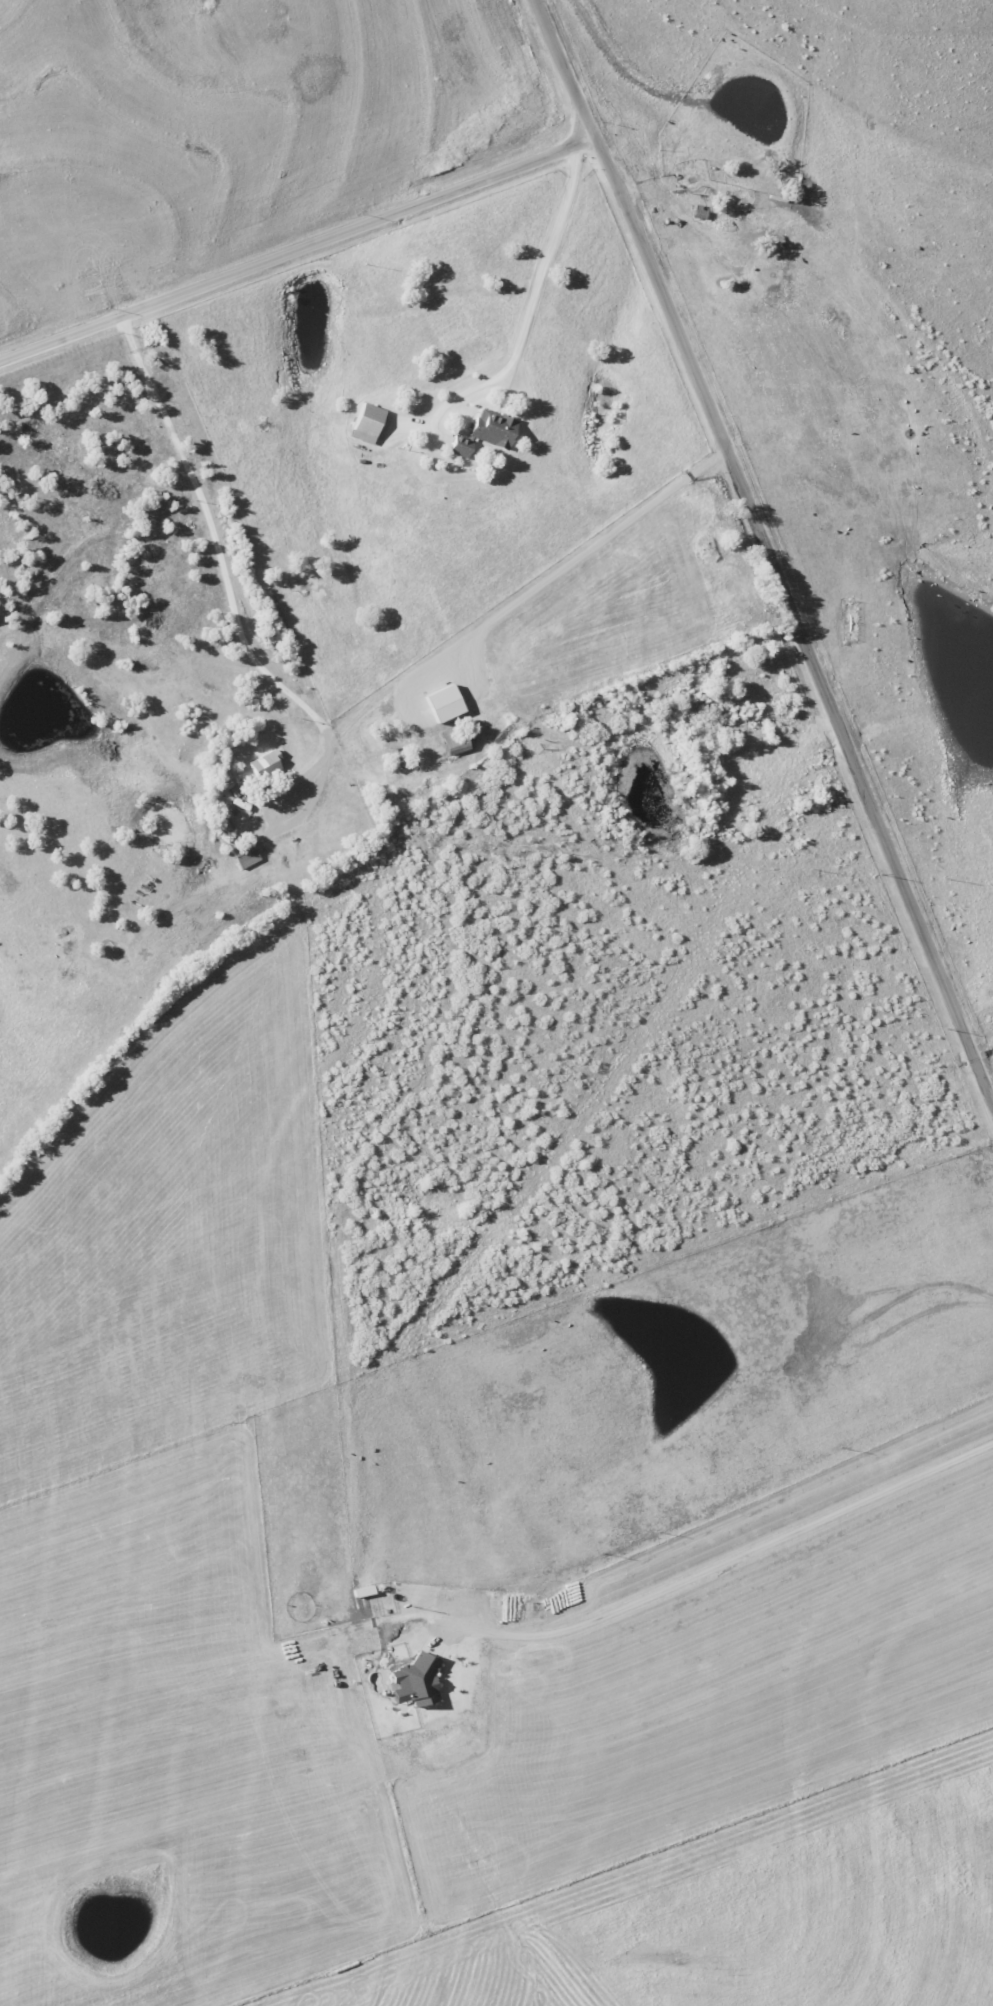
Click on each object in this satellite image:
road: (296, 250)
road: (533, 304)
building: (366, 423)
building: (484, 431)
road: (767, 550)
road: (471, 610)
building: (265, 764)
building: (221, 827)
building: (245, 856)
road: (726, 1559)
building: (416, 1679)

